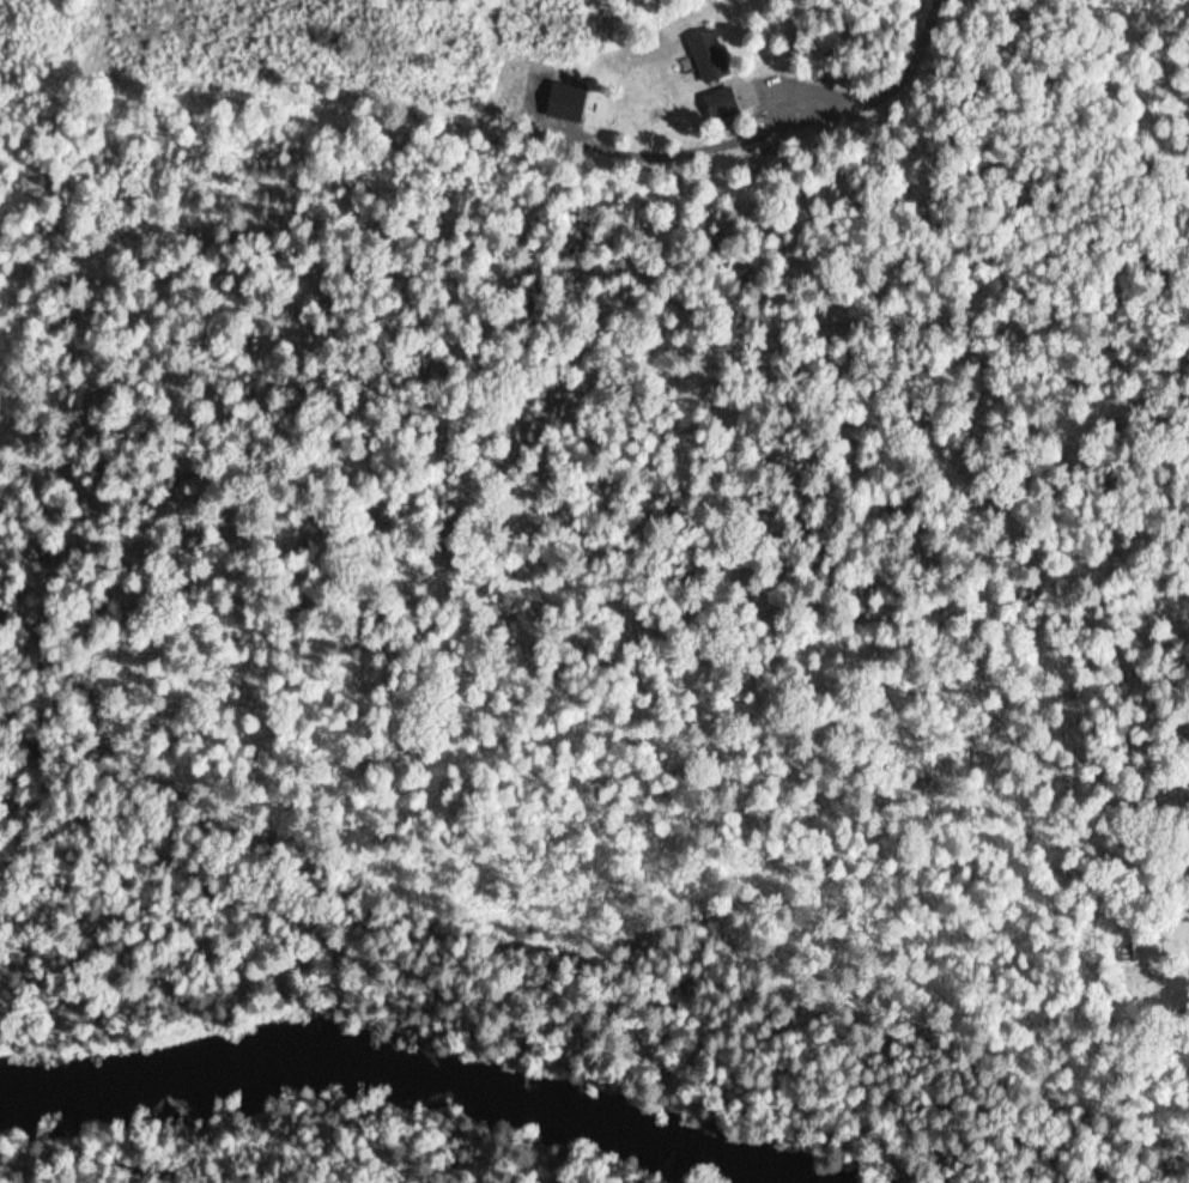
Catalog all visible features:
building: (711, 55)
building: (724, 103)
building: (1146, 951)
river: (380, 1084)

